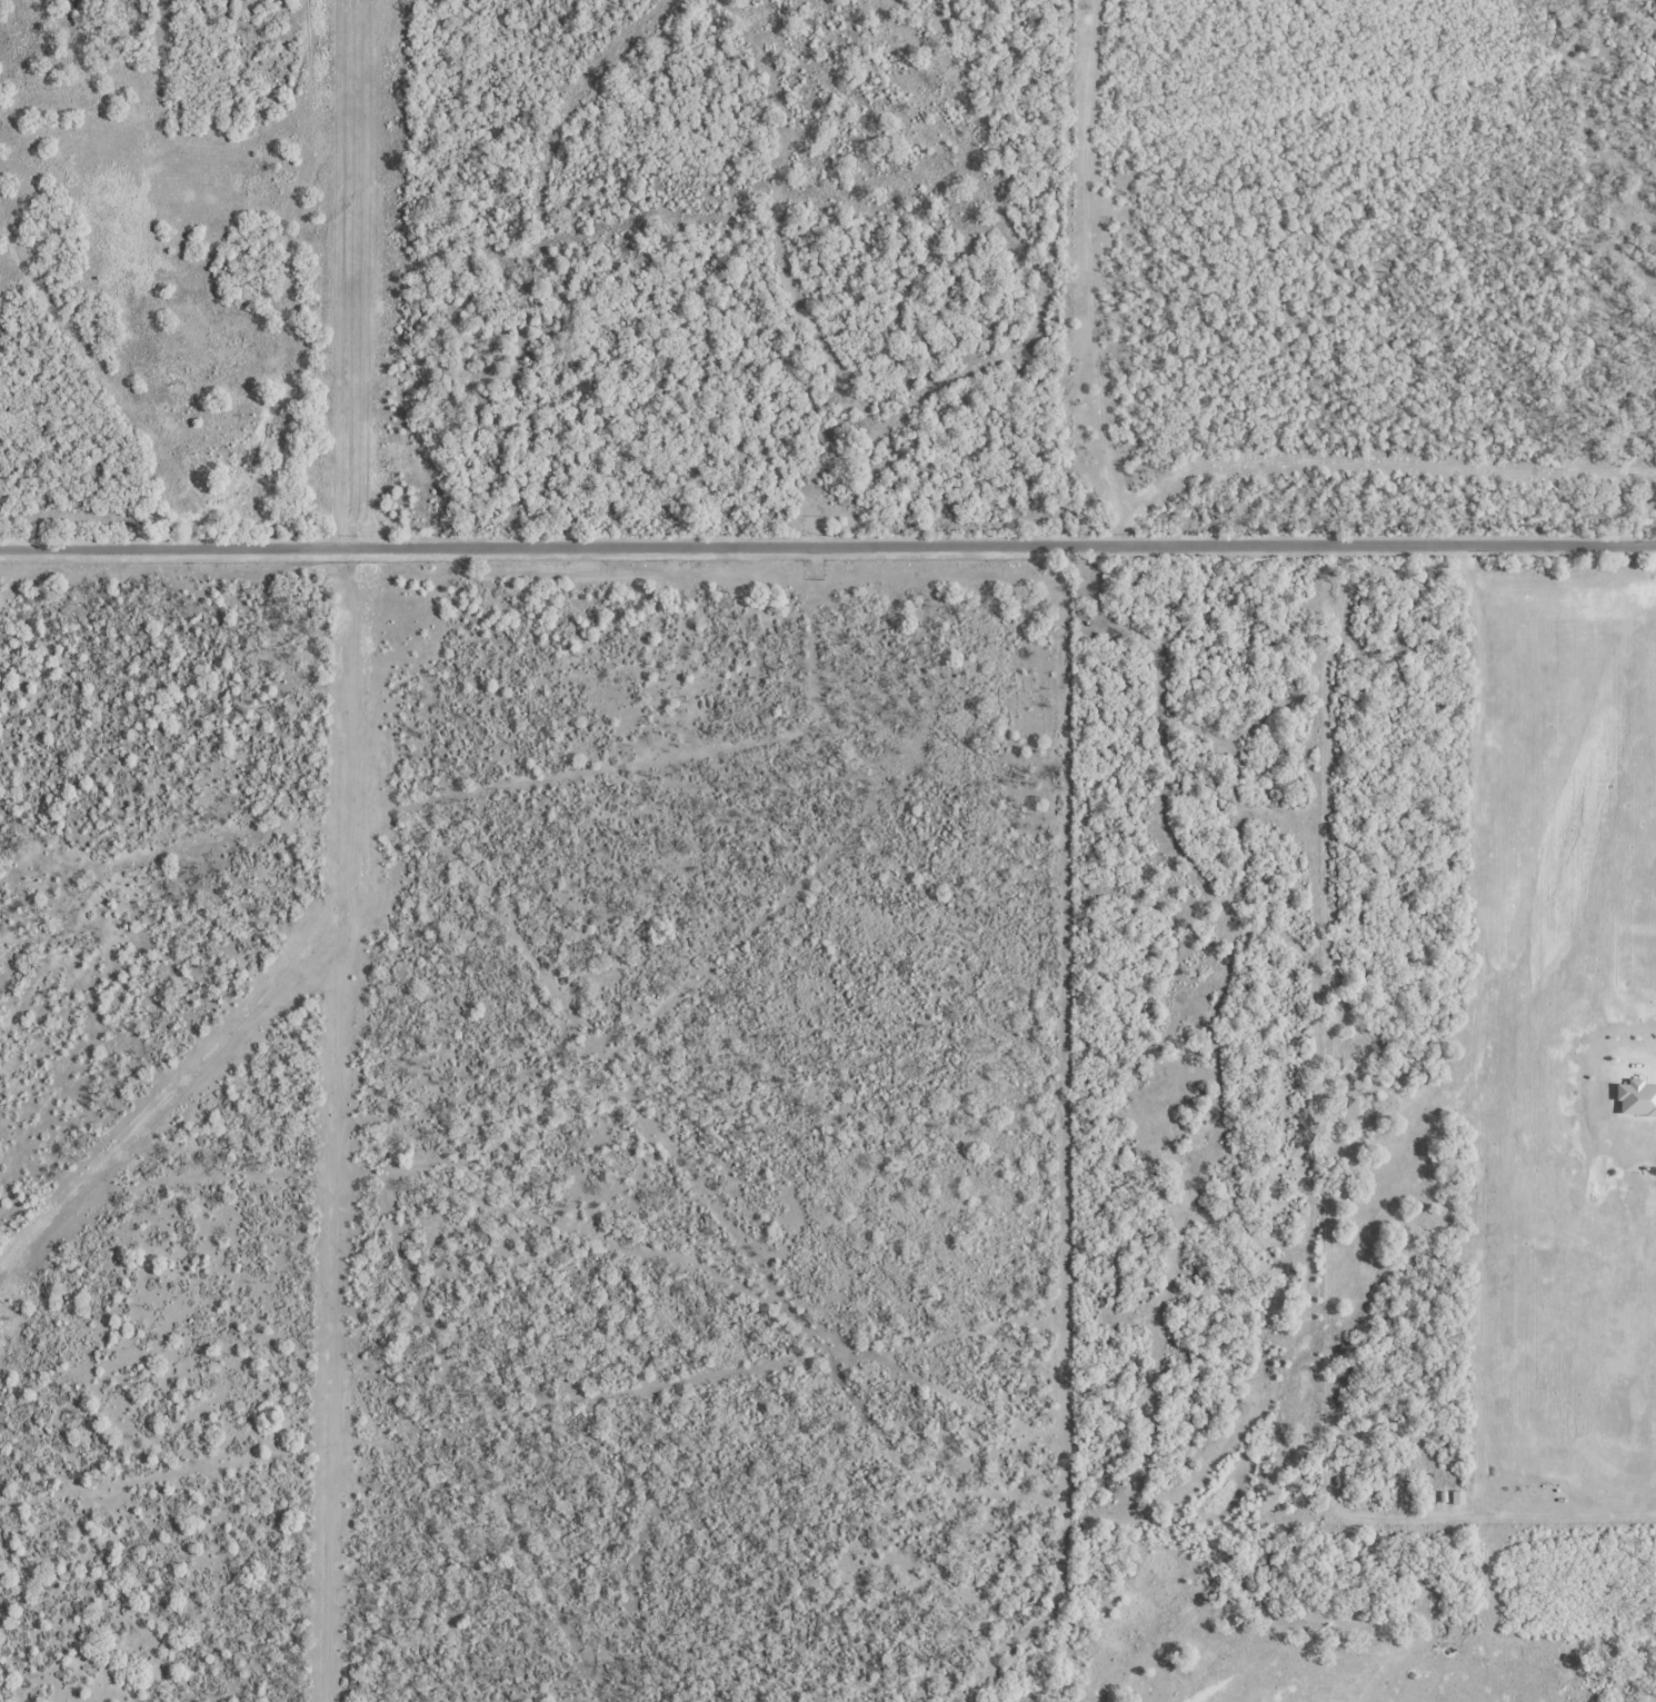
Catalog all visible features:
road: (828, 548)
building: (1637, 1098)
building: (1443, 1495)
building: (1457, 1495)

